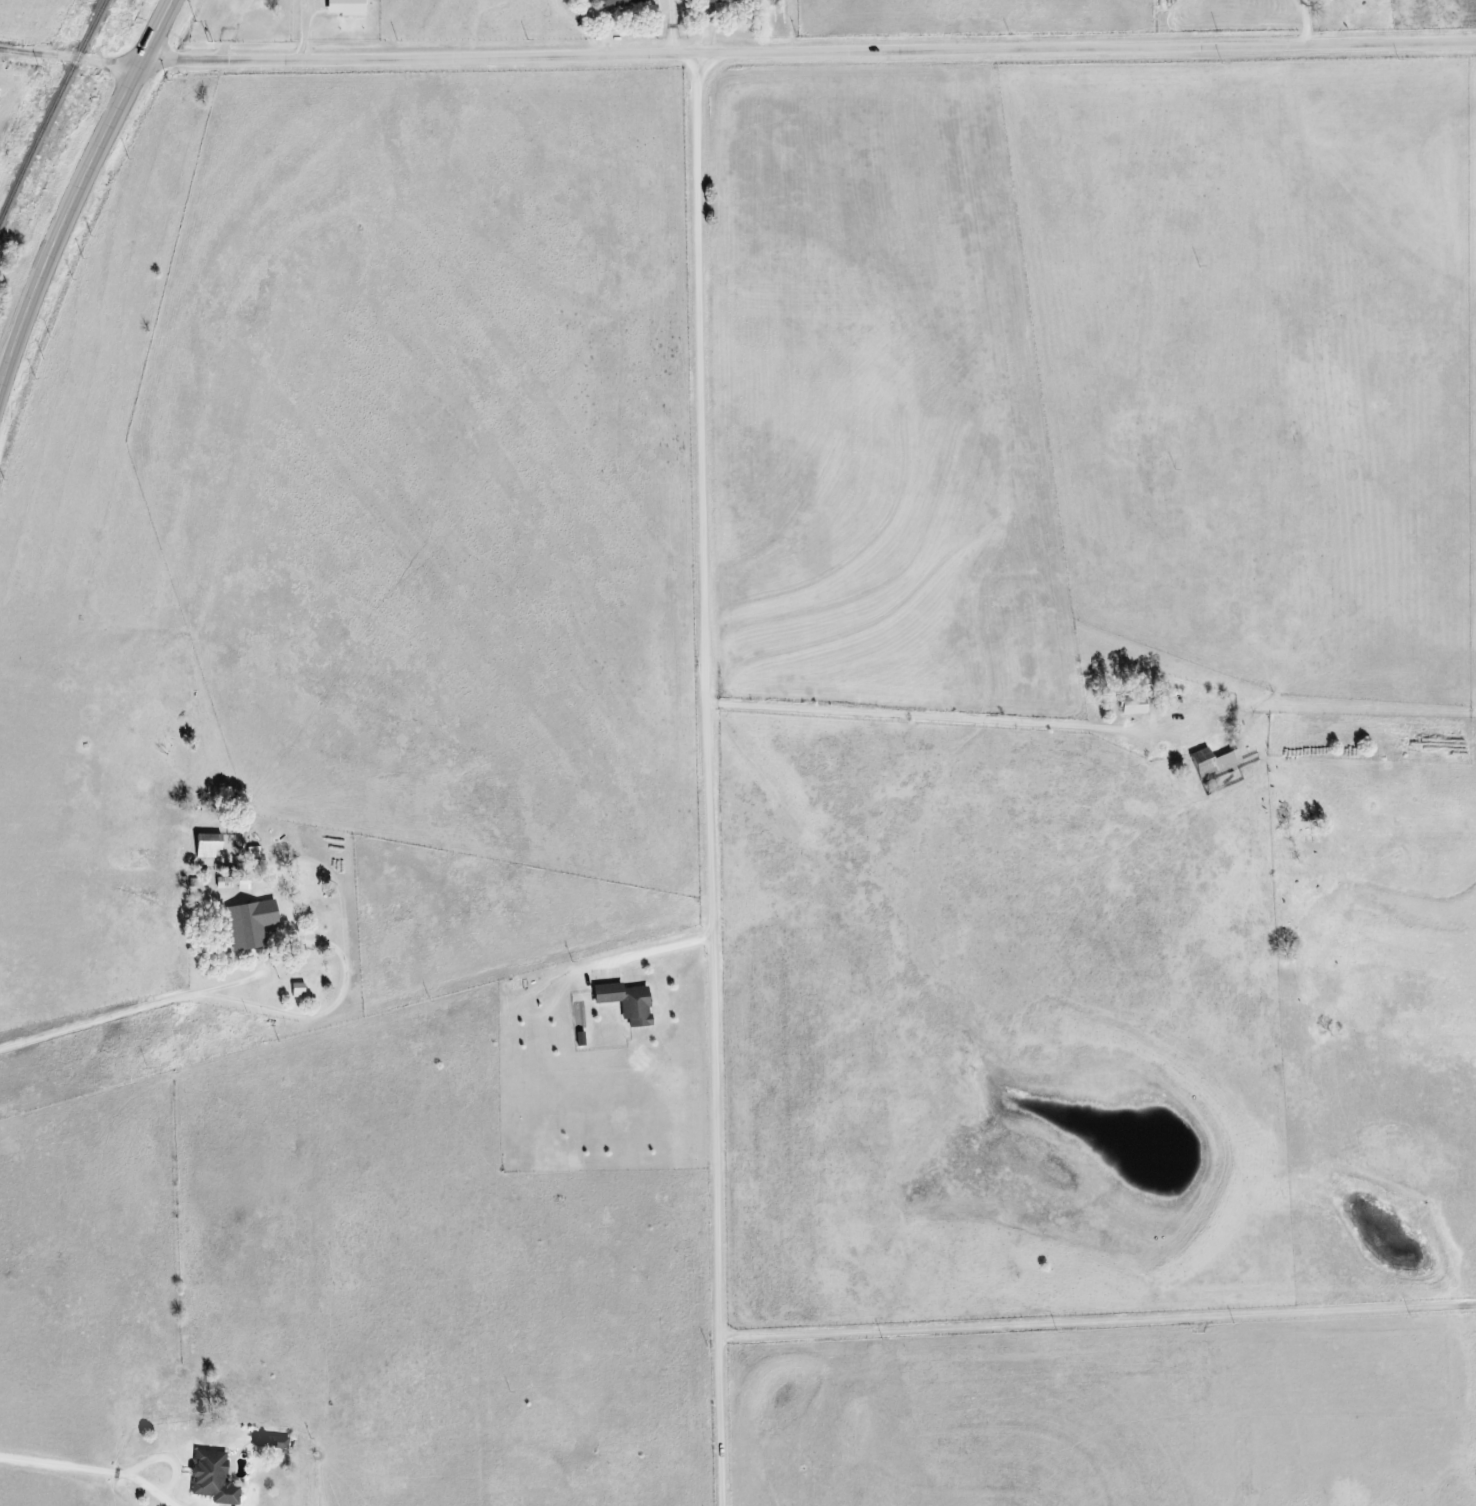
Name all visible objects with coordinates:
building: (622, 1)
building: (720, 1)
building: (342, 7)
road: (1305, 21)
road: (809, 48)
road: (71, 58)
railway: (51, 108)
road: (71, 203)
building: (1130, 705)
road: (911, 719)
building: (1225, 759)
building: (1200, 762)
road: (711, 778)
building: (205, 845)
building: (247, 923)
building: (296, 990)
road: (89, 1001)
building: (623, 1002)
road: (1098, 1316)
building: (273, 1442)
building: (211, 1478)

